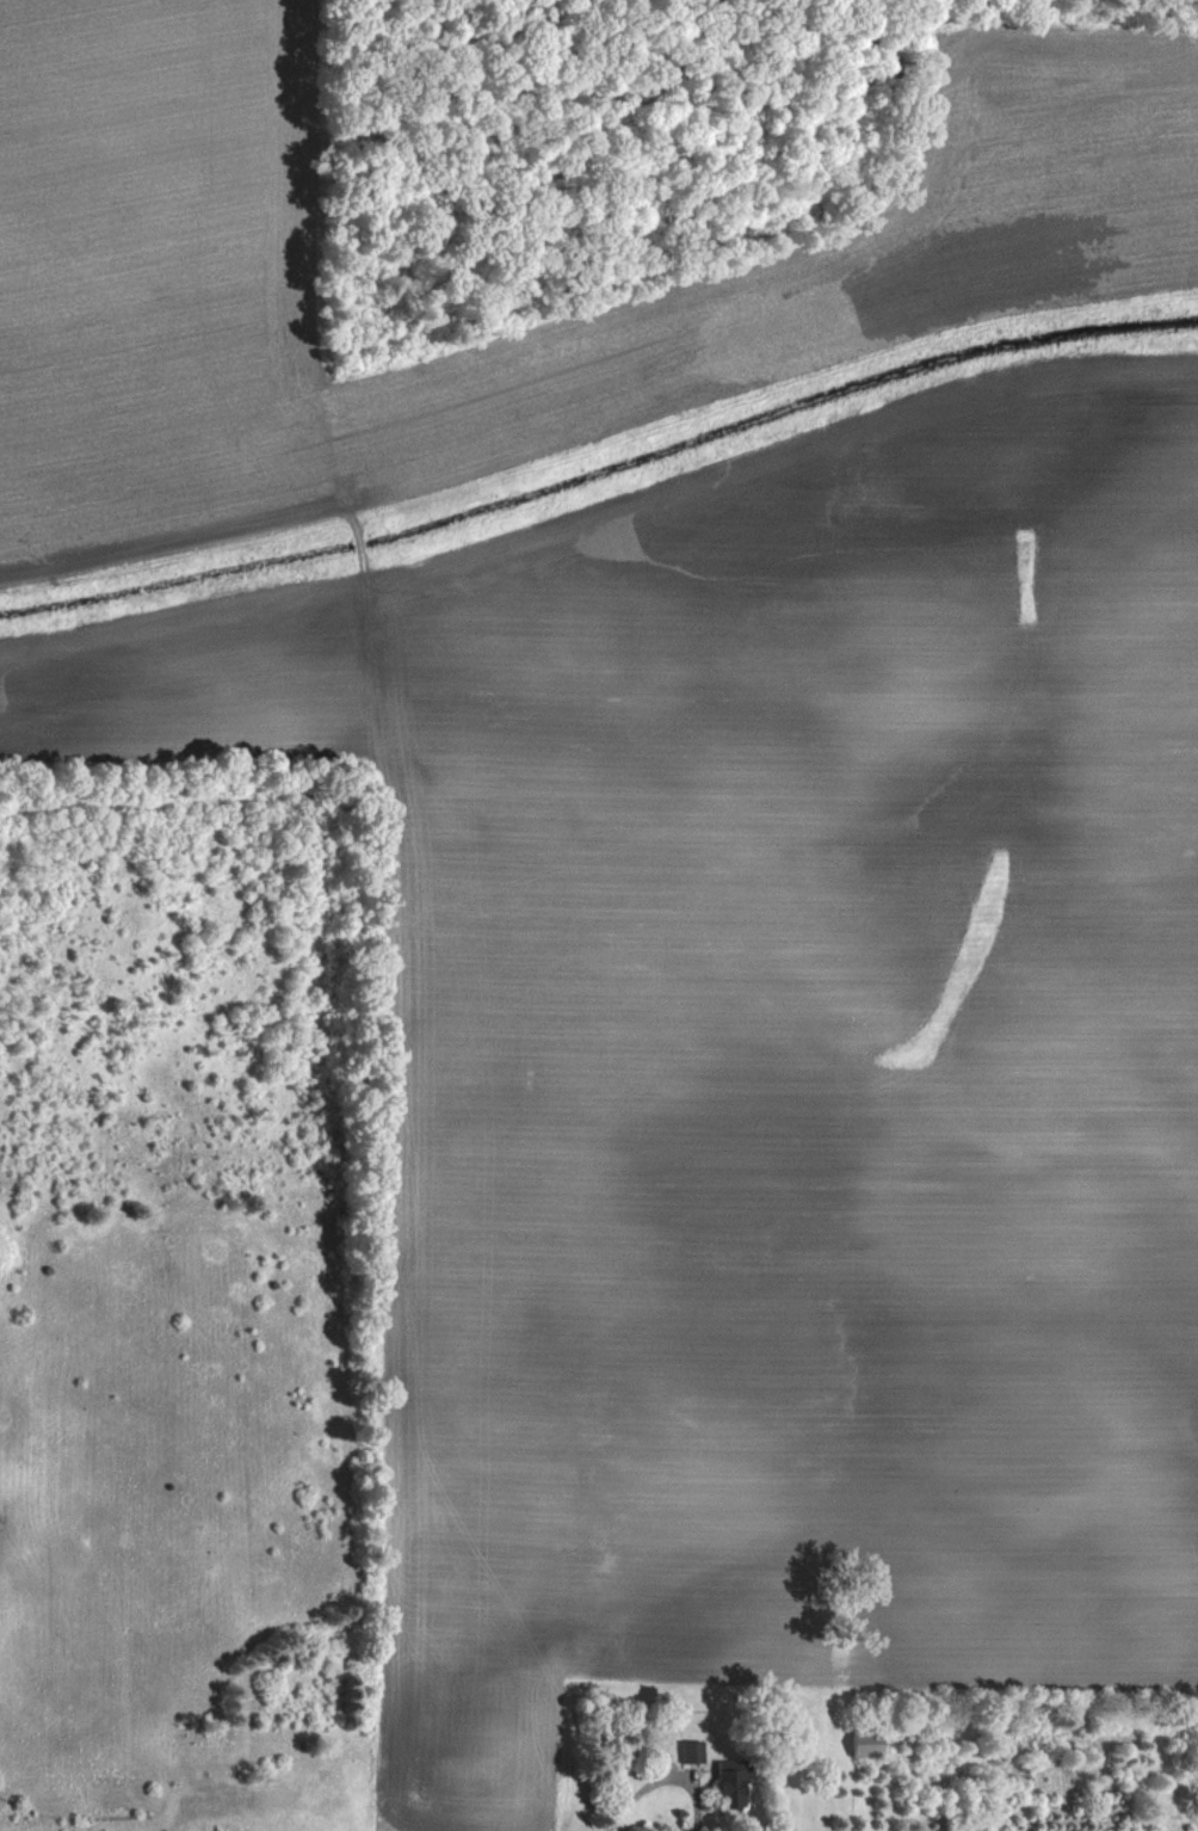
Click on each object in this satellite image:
building: (867, 1745)
building: (694, 1753)
building: (736, 1786)

